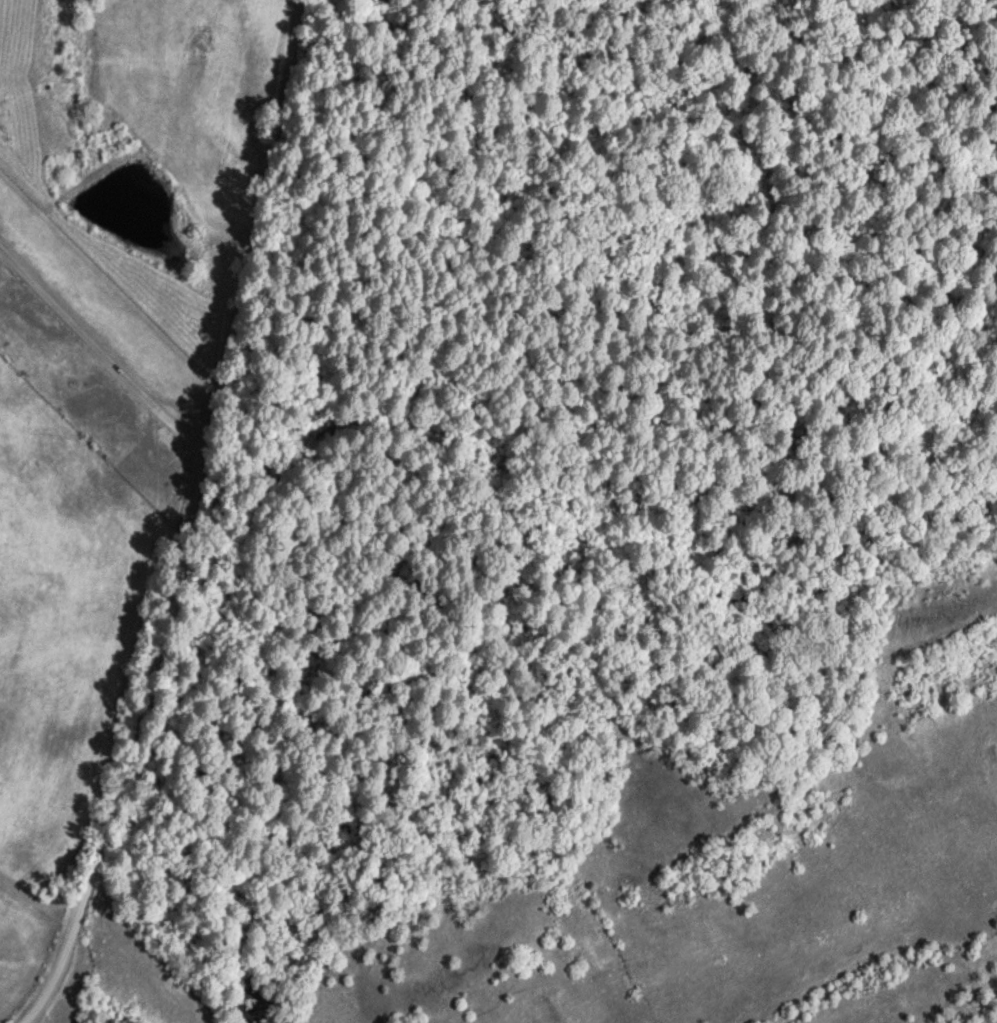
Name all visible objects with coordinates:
road: (279, 253)
road: (105, 398)
road: (135, 775)

